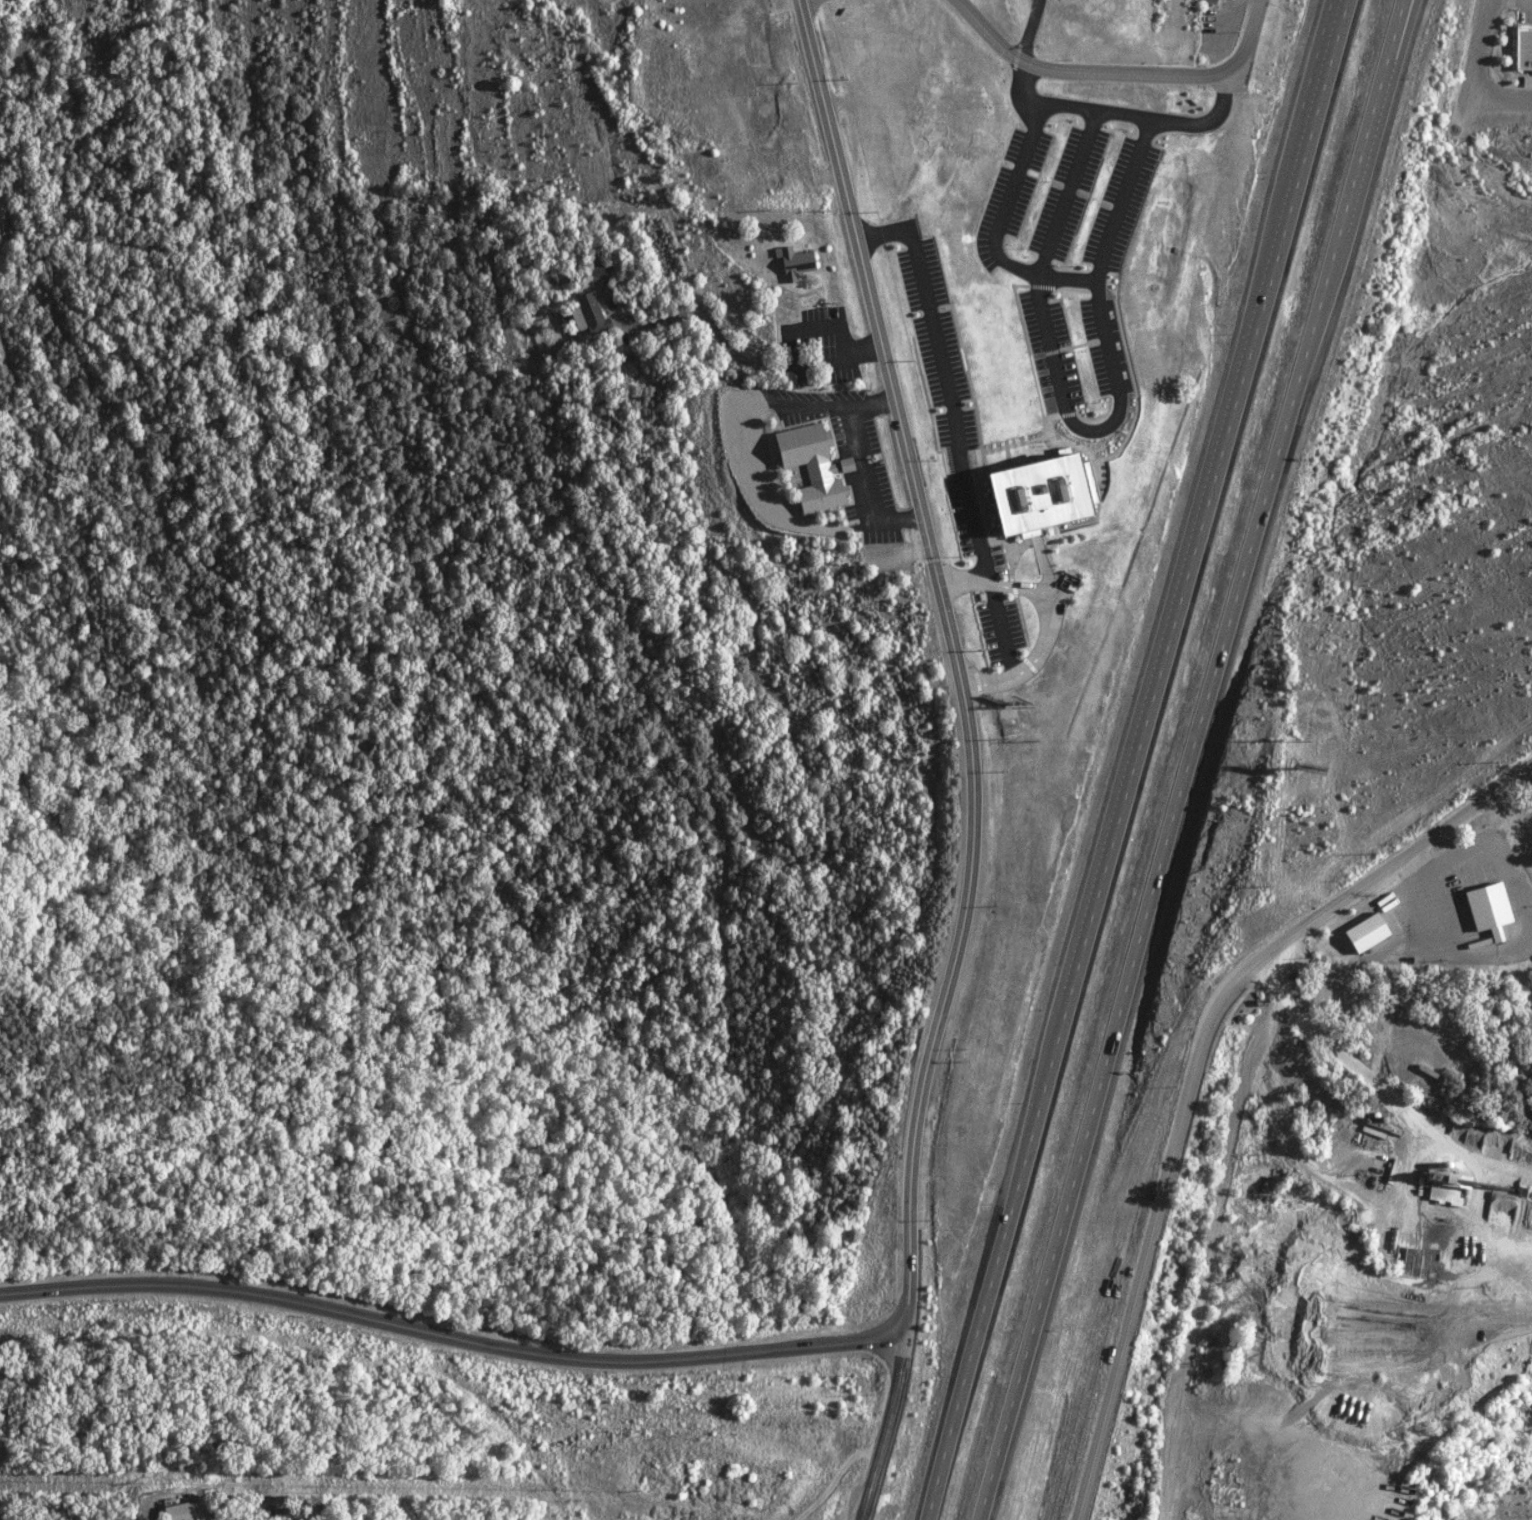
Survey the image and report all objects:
building: (1210, 1)
road: (1523, 1)
park: (1087, 25)
building: (1521, 47)
road: (1476, 67)
road: (1121, 72)
road: (1501, 99)
road: (1095, 103)
road: (1221, 108)
road: (1023, 175)
road: (1073, 188)
road: (1130, 196)
road: (895, 230)
building: (790, 262)
road: (1024, 264)
road: (1072, 274)
building: (591, 313)
road: (706, 318)
road: (1116, 338)
road: (1056, 339)
road: (787, 355)
road: (953, 393)
road: (1103, 427)
building: (809, 466)
road: (862, 470)
building: (1055, 494)
road: (1053, 564)
road: (977, 573)
road: (1000, 623)
road: (1054, 625)
road: (956, 664)
road: (1131, 759)
road: (1196, 761)
road: (1513, 825)
building: (1486, 908)
building: (1363, 931)
road: (1254, 956)
road: (1223, 1201)
road: (449, 1333)
road: (1106, 1392)
road: (887, 1430)
building: (183, 1510)

